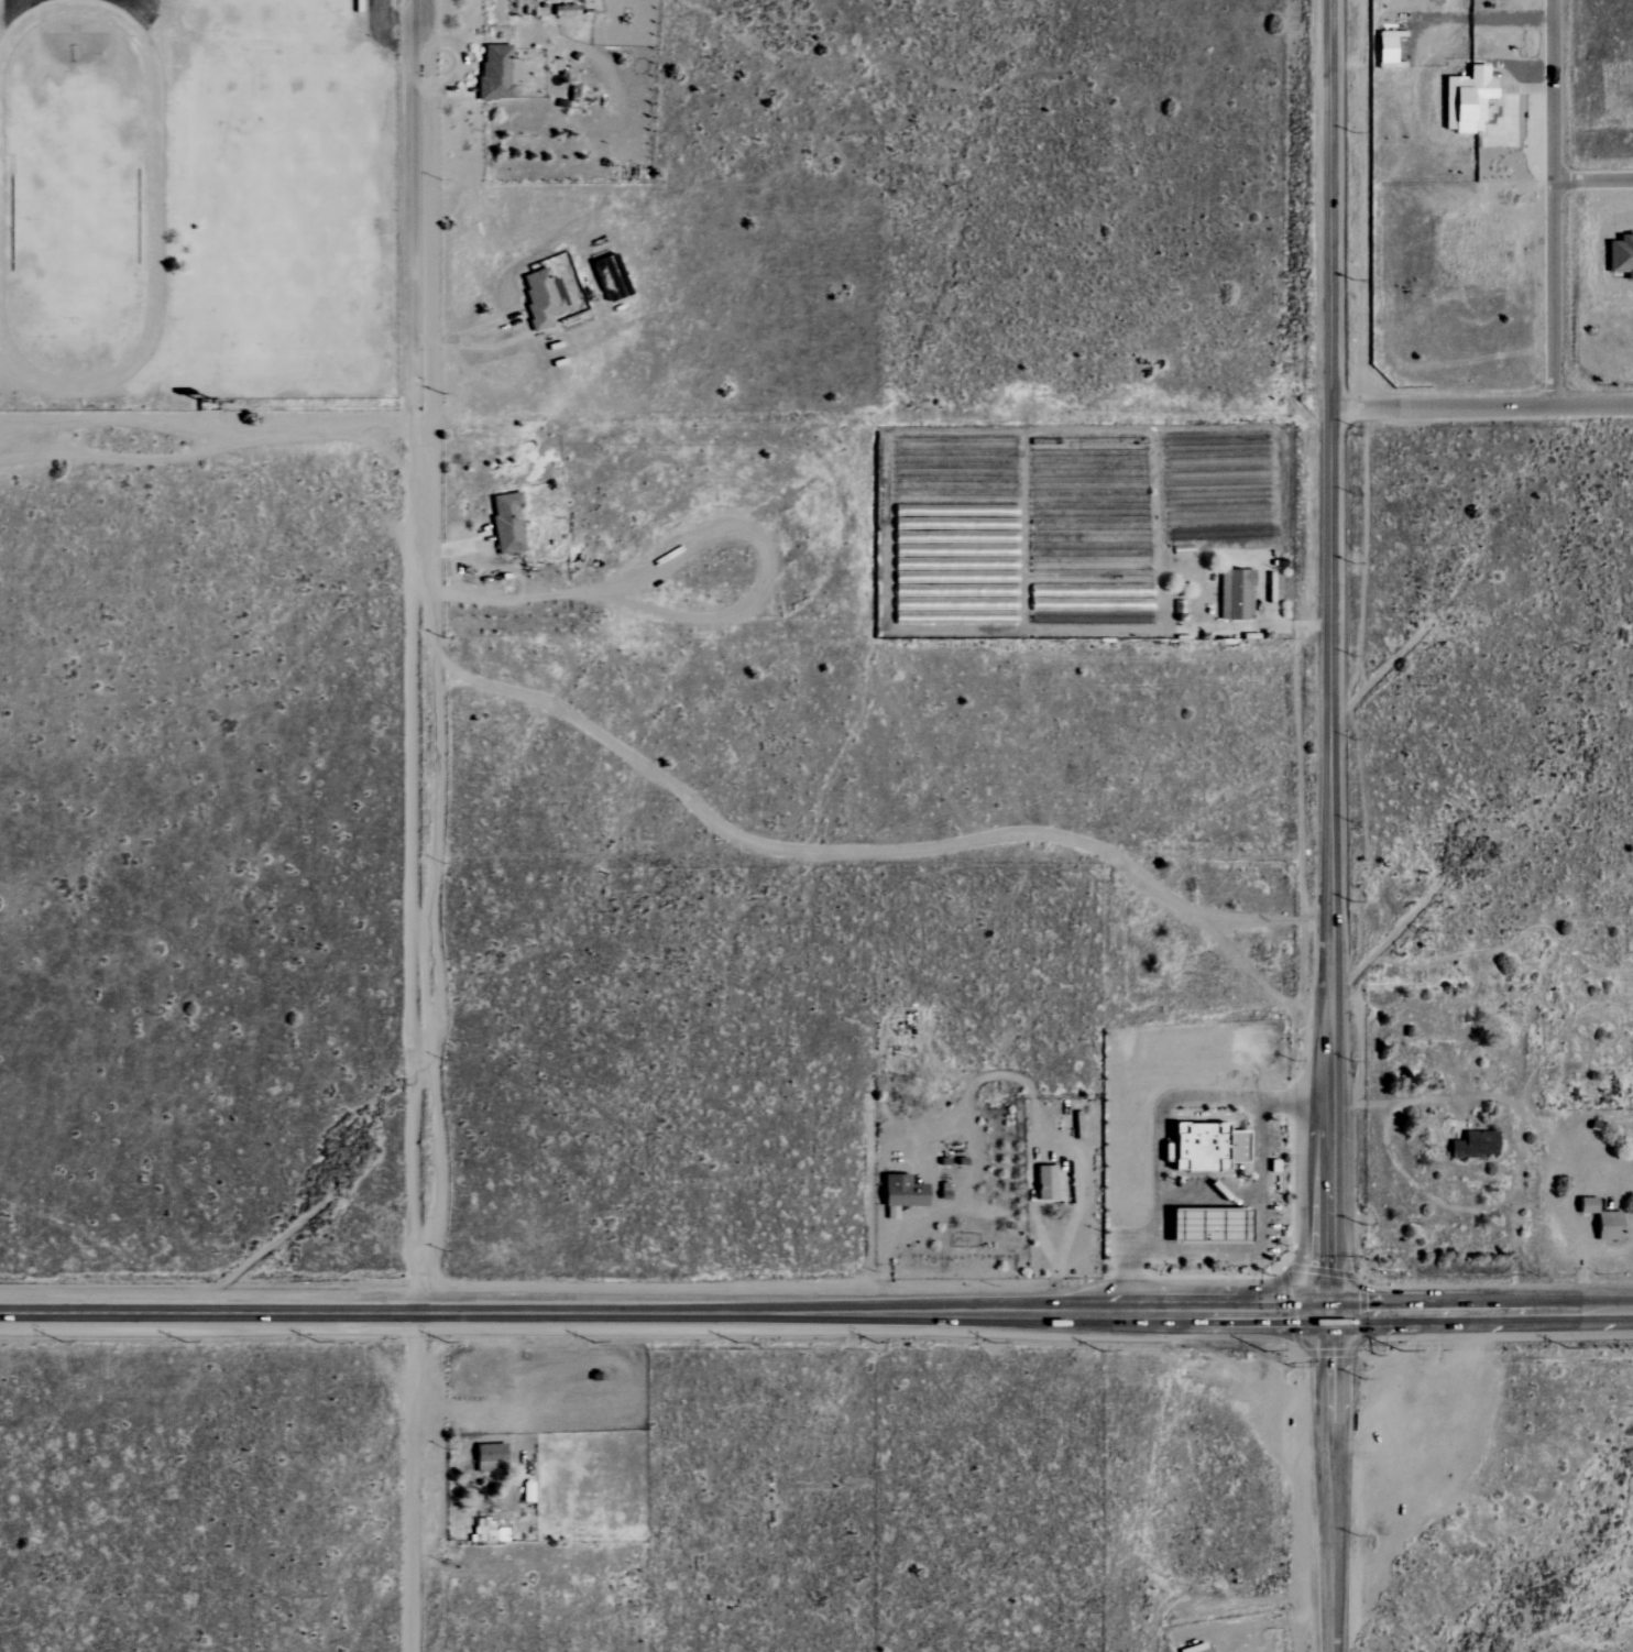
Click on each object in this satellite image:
road: (385, 29)
building: (495, 74)
building: (1465, 99)
road: (1593, 182)
road: (1554, 204)
road: (409, 210)
building: (1620, 255)
building: (541, 298)
road: (1483, 408)
road: (205, 427)
road: (445, 547)
road: (450, 592)
building: (1238, 594)
road: (1274, 621)
road: (1331, 657)
road: (419, 1037)
road: (1161, 1127)
building: (1473, 1145)
building: (1204, 1148)
road: (1032, 1158)
building: (1043, 1183)
building: (900, 1192)
road: (1209, 1195)
building: (1585, 1205)
building: (1205, 1225)
building: (1605, 1226)
road: (1256, 1235)
road: (883, 1258)
road: (1480, 1313)
road: (665, 1315)
traffic signals: (1329, 1315)
road: (513, 1426)
road: (1329, 1484)
road: (1276, 1621)
building: (1194, 1649)

